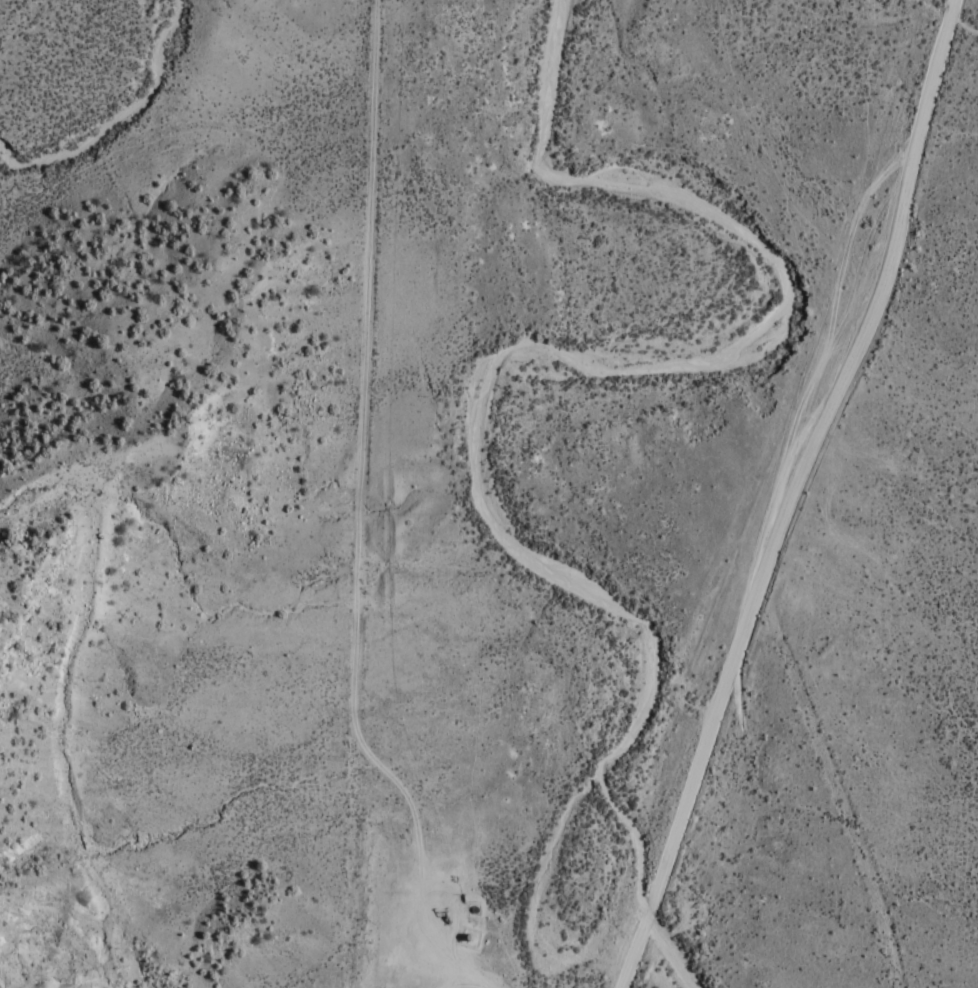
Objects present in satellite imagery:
river: (472, 431)
road: (792, 493)
road: (350, 494)
road: (89, 699)
road: (834, 794)

